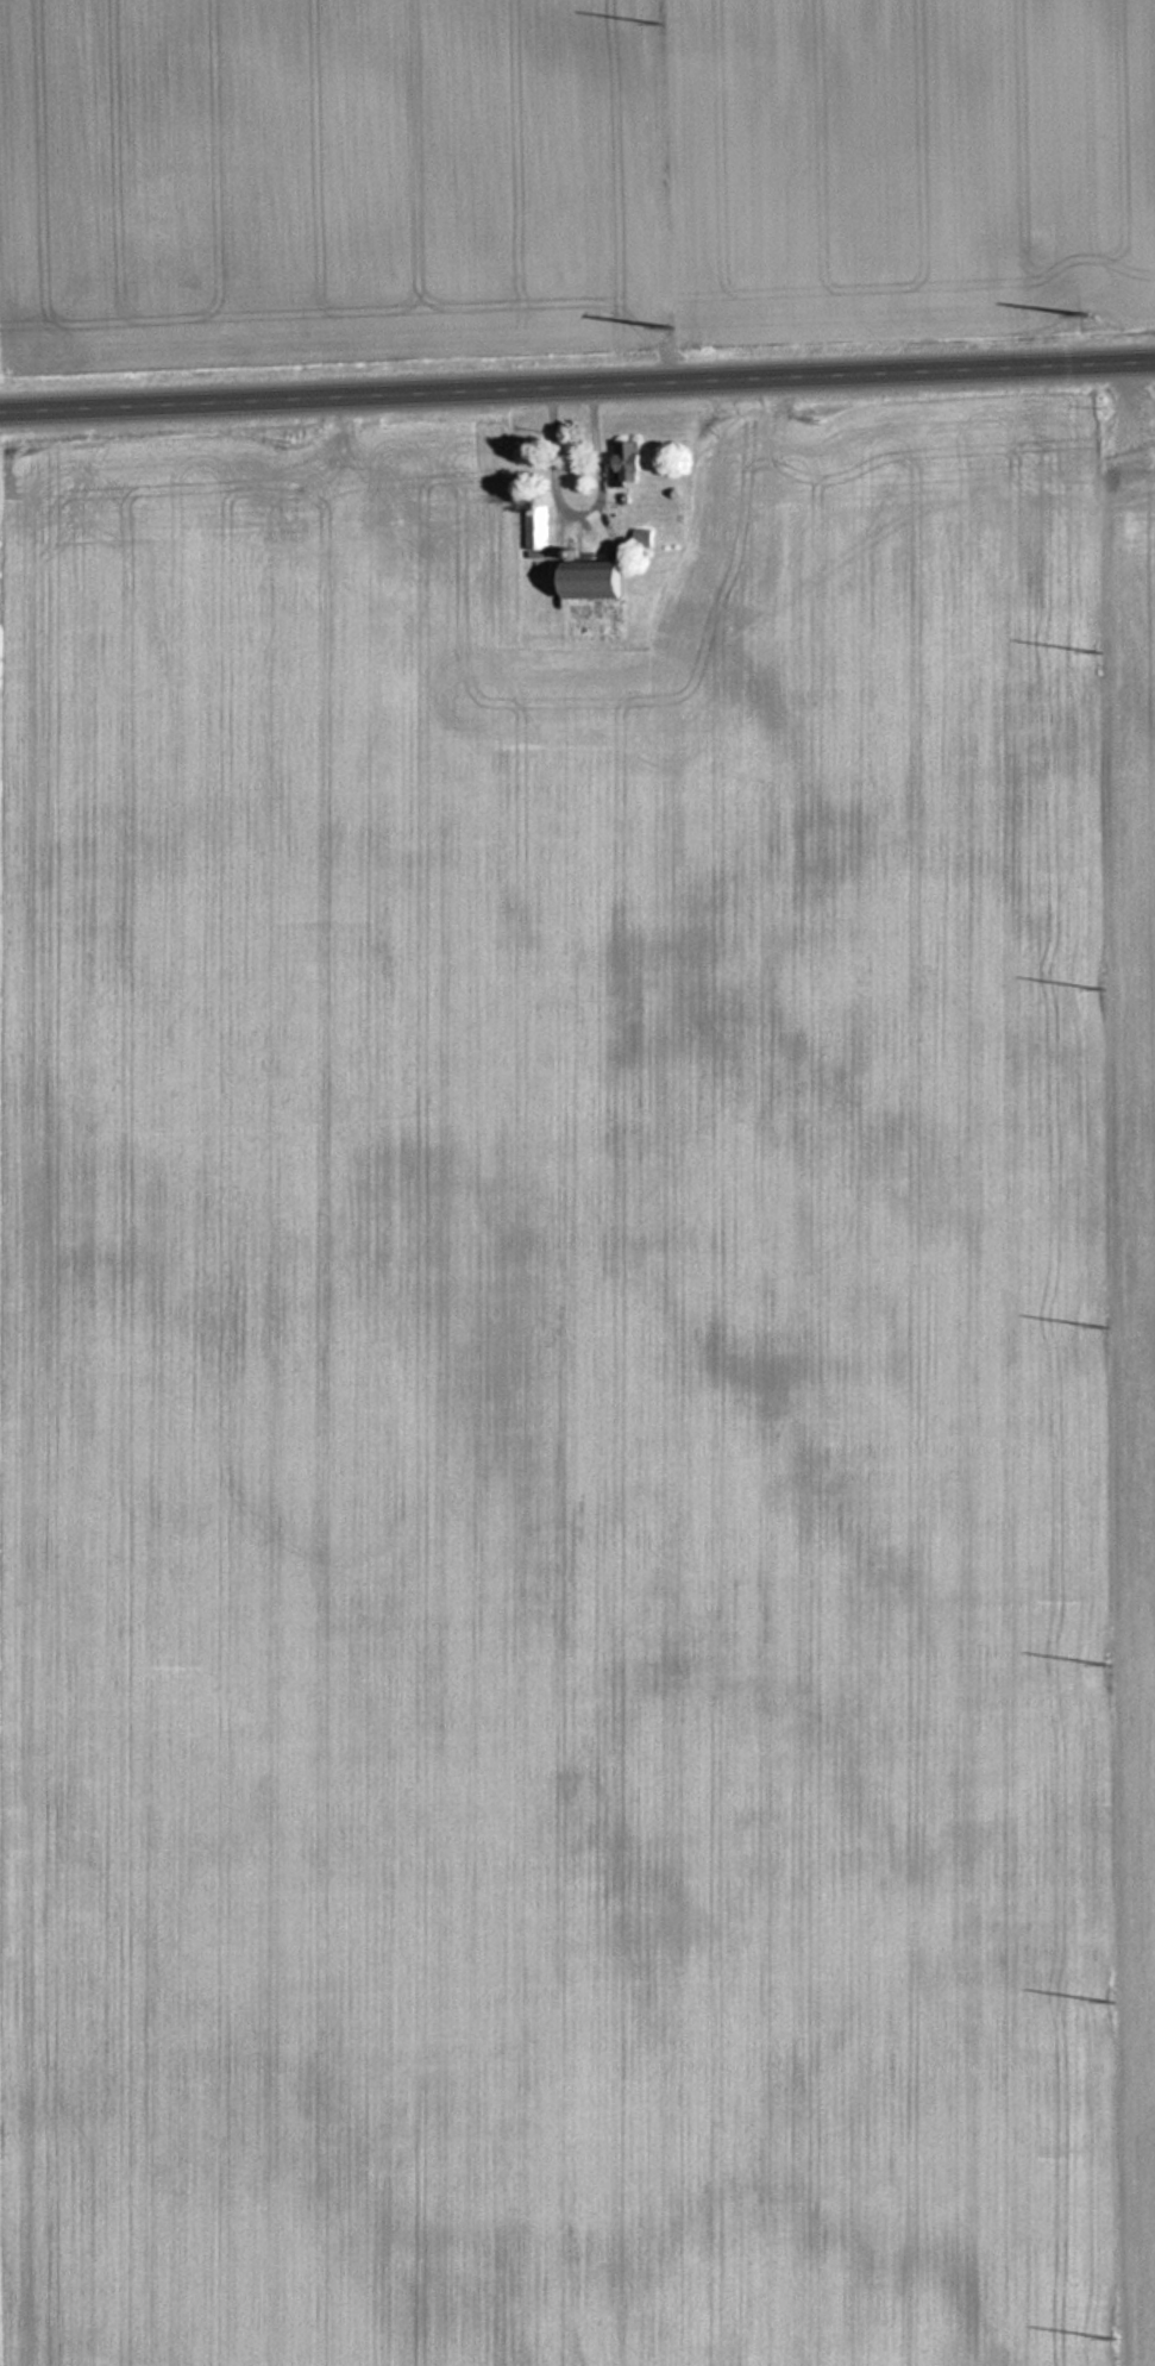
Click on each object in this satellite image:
power tower: (659, 18)
power tower: (1087, 313)
power tower: (666, 327)
road: (577, 388)
building: (634, 463)
building: (539, 527)
building: (605, 580)
power tower: (1098, 655)
power tower: (1107, 990)
power tower: (1105, 1332)
power tower: (1110, 1664)
power tower: (1110, 2001)
power tower: (1119, 2336)

